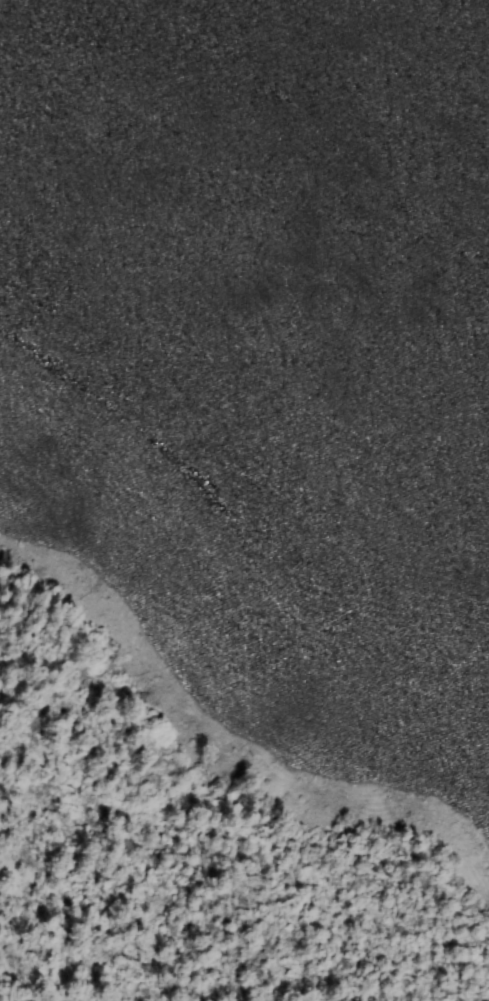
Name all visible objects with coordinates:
building: (219, 258)
river: (249, 267)

